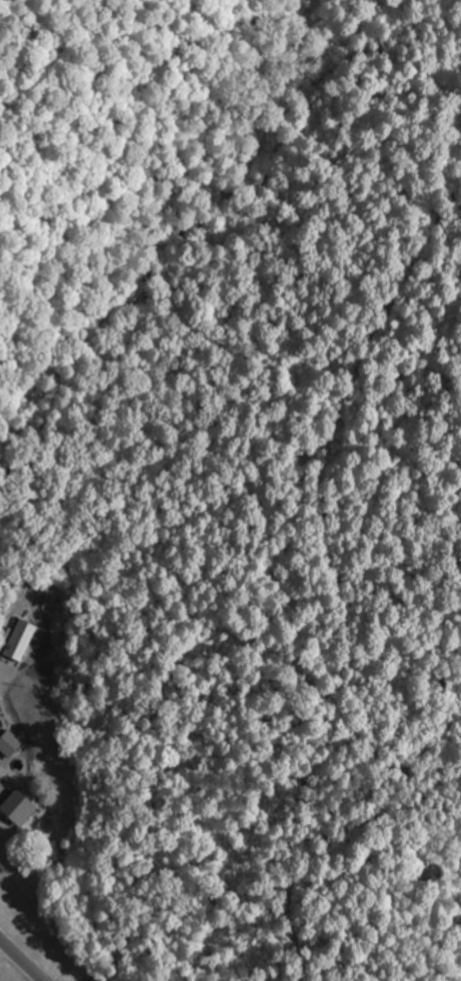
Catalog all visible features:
building: (23, 639)
building: (11, 743)
building: (23, 807)
road: (24, 957)

